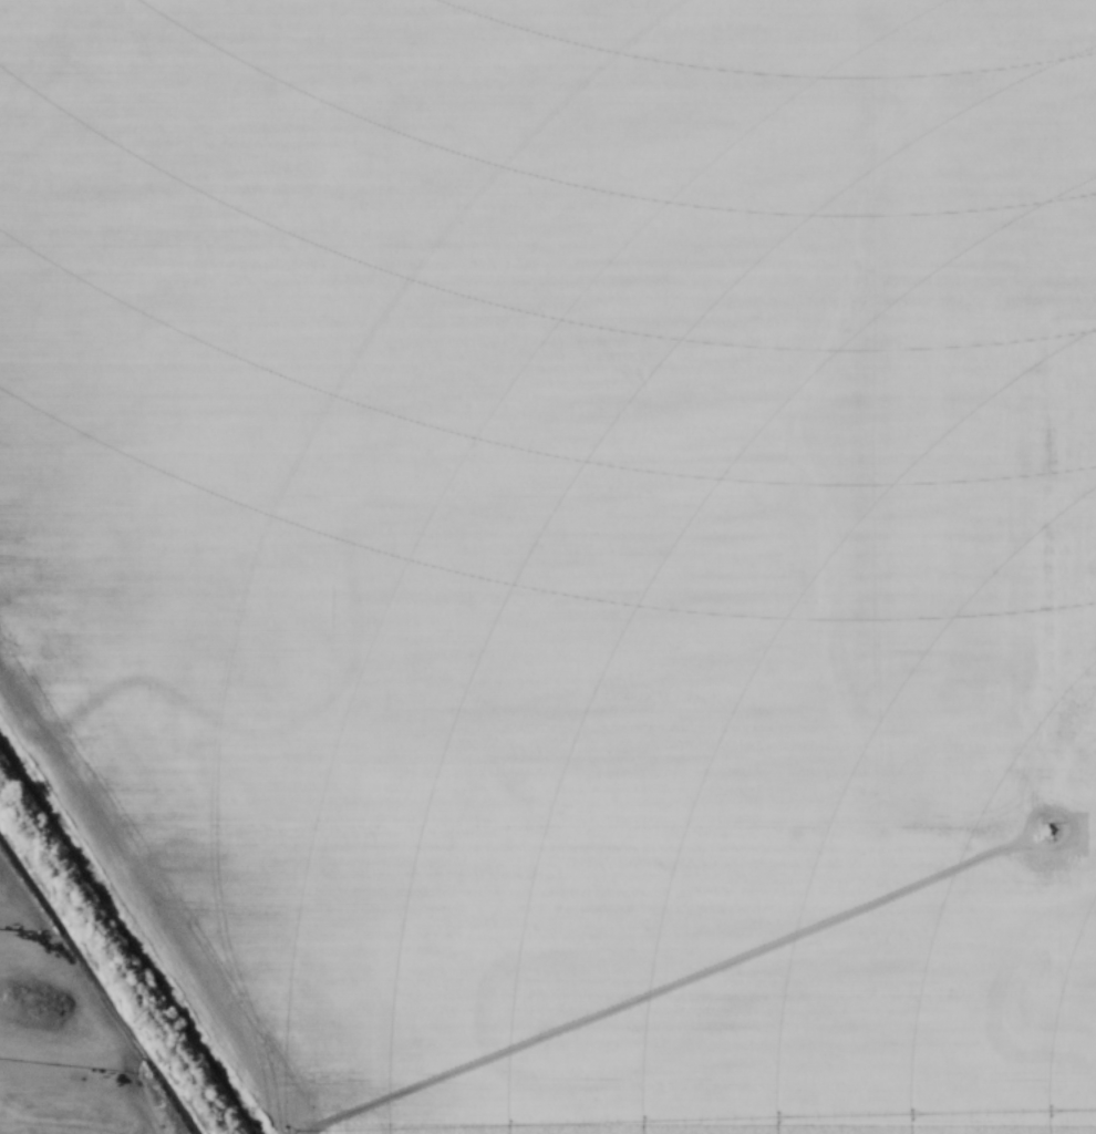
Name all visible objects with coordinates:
building: (1047, 831)

